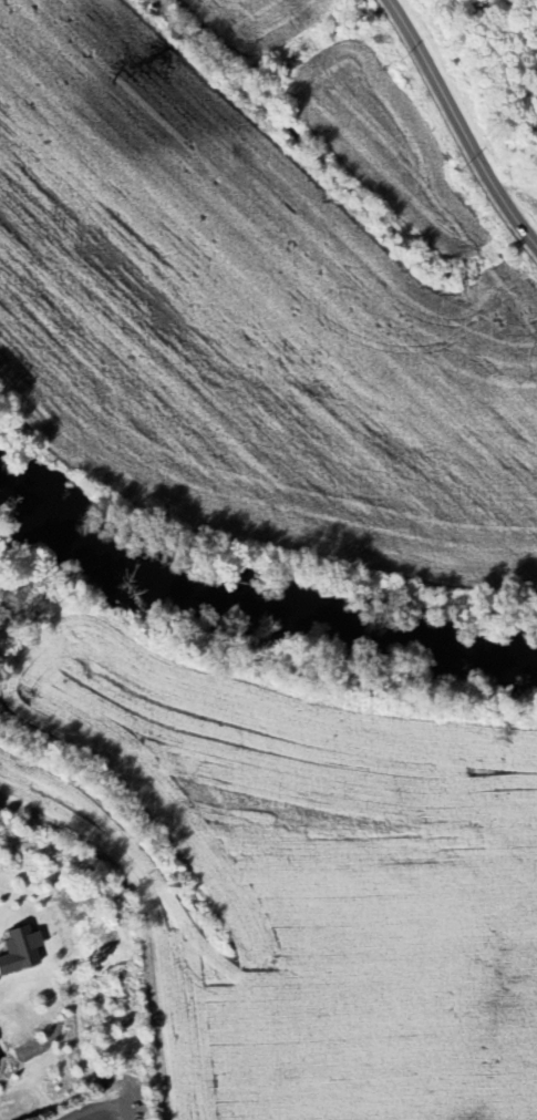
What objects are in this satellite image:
road: (459, 124)
river: (254, 597)
building: (18, 948)
road: (97, 1109)

